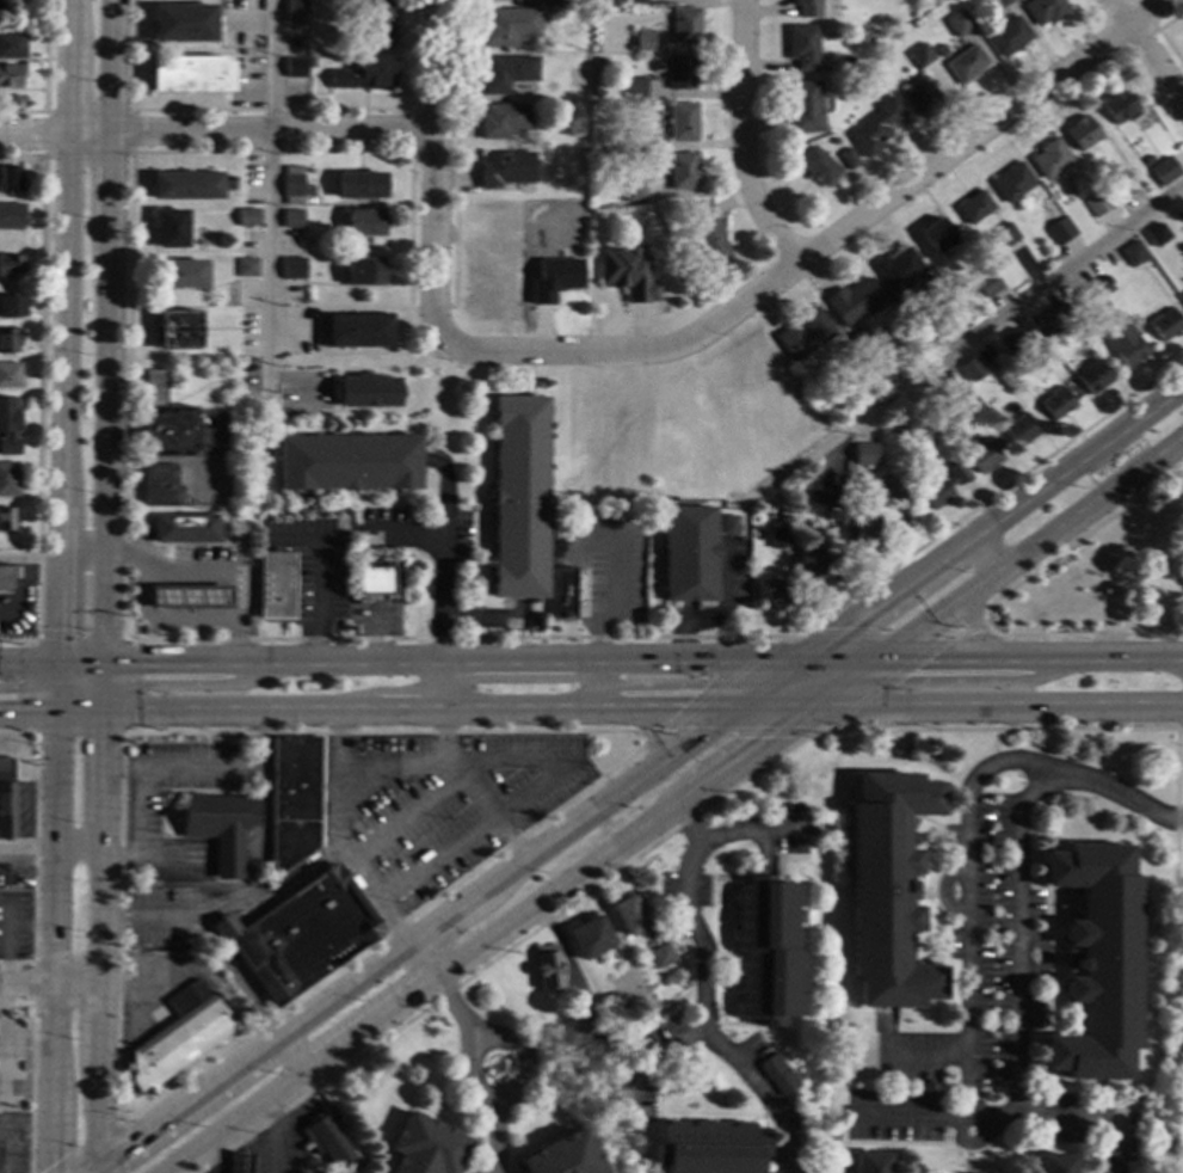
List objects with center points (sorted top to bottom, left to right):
building: (491, 0)
building: (556, 1)
building: (635, 1)
building: (1000, 2)
building: (1, 7)
building: (808, 7)
building: (294, 11)
building: (1043, 11)
building: (552, 13)
road: (1145, 13)
building: (181, 23)
building: (377, 23)
building: (957, 23)
building: (506, 25)
building: (685, 26)
road: (1159, 33)
building: (1008, 37)
building: (643, 39)
building: (11, 45)
building: (802, 45)
road: (1145, 51)
building: (919, 55)
building: (965, 63)
road: (109, 66)
building: (294, 67)
building: (682, 72)
building: (505, 73)
building: (190, 74)
building: (10, 75)
building: (362, 75)
road: (43, 76)
building: (634, 88)
building: (920, 97)
building: (1117, 106)
road: (269, 108)
building: (803, 108)
building: (500, 121)
building: (682, 122)
road: (409, 128)
building: (875, 128)
road: (130, 130)
road: (215, 130)
road: (43, 133)
building: (1080, 133)
road: (741, 137)
building: (634, 141)
road: (452, 153)
building: (1049, 158)
building: (848, 159)
building: (1146, 159)
building: (817, 166)
building: (505, 168)
building: (682, 171)
road: (431, 172)
road: (107, 177)
building: (1163, 178)
building: (10, 179)
building: (232, 179)
building: (1011, 182)
building: (184, 185)
building: (291, 185)
building: (358, 185)
building: (308, 188)
building: (631, 191)
building: (1095, 204)
road: (267, 205)
building: (973, 207)
building: (665, 209)
building: (11, 215)
building: (246, 216)
building: (291, 217)
building: (364, 222)
building: (170, 228)
building: (1061, 228)
building: (708, 234)
building: (1004, 234)
building: (1156, 234)
building: (936, 235)
road: (825, 239)
building: (1182, 239)
building: (1133, 253)
building: (10, 265)
building: (246, 266)
building: (292, 268)
building: (898, 269)
building: (363, 271)
building: (181, 274)
building: (627, 274)
building: (1103, 282)
building: (988, 284)
building: (698, 289)
building: (1084, 300)
building: (855, 301)
building: (11, 306)
road: (429, 306)
building: (1058, 319)
building: (1164, 325)
building: (175, 328)
building: (357, 330)
road: (64, 331)
building: (803, 334)
building: (934, 334)
building: (8, 340)
building: (1010, 343)
building: (1126, 345)
road: (954, 349)
building: (996, 366)
building: (1013, 368)
building: (972, 369)
building: (8, 374)
building: (883, 374)
building: (1092, 375)
building: (366, 391)
building: (960, 392)
road: (39, 393)
building: (1055, 403)
building: (162, 420)
building: (8, 426)
building: (1018, 430)
road: (103, 442)
building: (984, 454)
building: (863, 456)
building: (346, 462)
building: (8, 479)
building: (158, 485)
building: (942, 485)
building: (517, 496)
building: (836, 497)
road: (469, 499)
road: (370, 505)
road: (454, 514)
building: (6, 518)
building: (842, 518)
building: (727, 523)
building: (863, 524)
road: (986, 526)
parking lot: (382, 528)
building: (181, 529)
building: (230, 533)
road: (403, 533)
road: (585, 534)
building: (778, 536)
road: (1078, 538)
parking lot: (448, 539)
road: (1029, 551)
road: (444, 552)
building: (1179, 552)
building: (686, 553)
road: (986, 554)
road: (127, 555)
road: (50, 560)
building: (809, 560)
parking lot: (310, 564)
parking lot: (600, 564)
parking lot: (728, 567)
road: (162, 571)
road: (319, 572)
building: (6, 578)
building: (371, 581)
building: (275, 588)
building: (768, 590)
road: (19, 591)
building: (562, 592)
building: (185, 598)
road: (684, 613)
road: (715, 613)
road: (493, 621)
road: (133, 624)
road: (966, 628)
traffic signals: (57, 631)
road: (1083, 633)
road: (942, 635)
road: (79, 639)
road: (212, 639)
road: (980, 641)
road: (48, 663)
traffic signals: (141, 663)
road: (444, 663)
road: (1029, 664)
road: (833, 665)
road: (23, 684)
road: (135, 687)
road: (593, 687)
road: (762, 687)
road: (957, 704)
road: (366, 713)
traffic signals: (13, 719)
road: (643, 720)
road: (670, 727)
road: (1179, 729)
road: (79, 735)
road: (648, 737)
traffic signals: (99, 742)
road: (996, 747)
road: (560, 763)
road: (207, 764)
road: (205, 768)
road: (460, 770)
parking lot: (177, 781)
road: (320, 792)
road: (173, 793)
road: (720, 796)
building: (5, 799)
building: (291, 800)
parking lot: (451, 805)
road: (407, 819)
road: (684, 827)
building: (220, 828)
road: (136, 833)
road: (337, 842)
road: (33, 846)
road: (26, 853)
road: (75, 853)
road: (327, 856)
road: (240, 860)
road: (350, 872)
road: (971, 890)
building: (886, 891)
road: (273, 896)
road: (355, 902)
road: (431, 902)
road: (97, 911)
parking lot: (155, 916)
road: (520, 916)
building: (628, 916)
road: (54, 917)
road: (144, 920)
road: (31, 923)
parking lot: (14, 926)
building: (300, 935)
road: (1017, 935)
building: (589, 939)
road: (418, 940)
road: (8, 941)
building: (764, 951)
building: (660, 957)
building: (1096, 963)
building: (548, 968)
road: (701, 968)
road: (197, 975)
road: (234, 979)
road: (32, 984)
road: (48, 985)
building: (684, 985)
road: (445, 993)
parking lot: (144, 1018)
building: (573, 1036)
road: (1, 1039)
road: (29, 1039)
building: (178, 1039)
road: (295, 1052)
road: (663, 1052)
road: (919, 1055)
road: (466, 1070)
park: (1181, 1073)
road: (32, 1074)
building: (777, 1075)
road: (1, 1079)
road: (27, 1083)
road: (1062, 1122)
road: (282, 1135)
road: (492, 1135)
road: (106, 1137)
traffic signals: (124, 1142)
building: (328, 1142)
parking lot: (13, 1143)
building: (425, 1147)
building: (708, 1148)
road: (214, 1156)
building: (561, 1156)
building: (869, 1163)
building: (1052, 1163)
traffic signals: (53, 1165)
road: (87, 1167)
road: (94, 1167)

